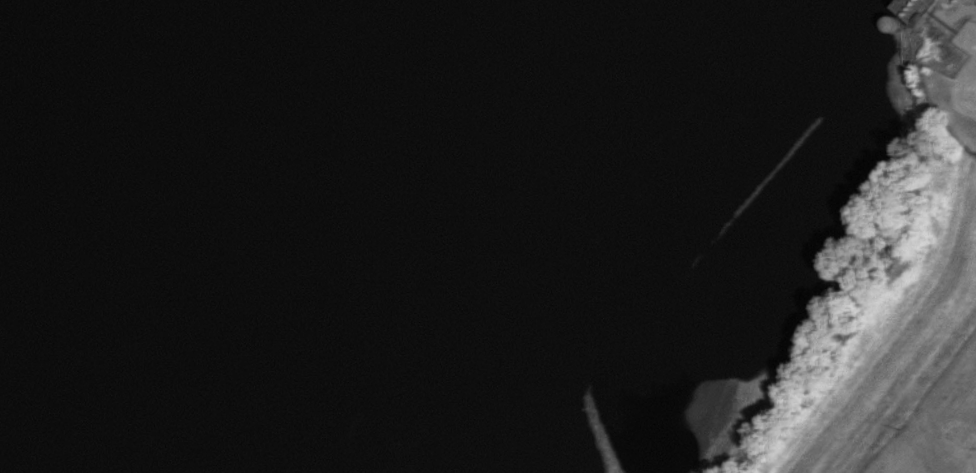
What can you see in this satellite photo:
building: (917, 9)
road: (952, 17)
road: (968, 78)
river: (345, 105)
river: (111, 300)
crop: (938, 421)

